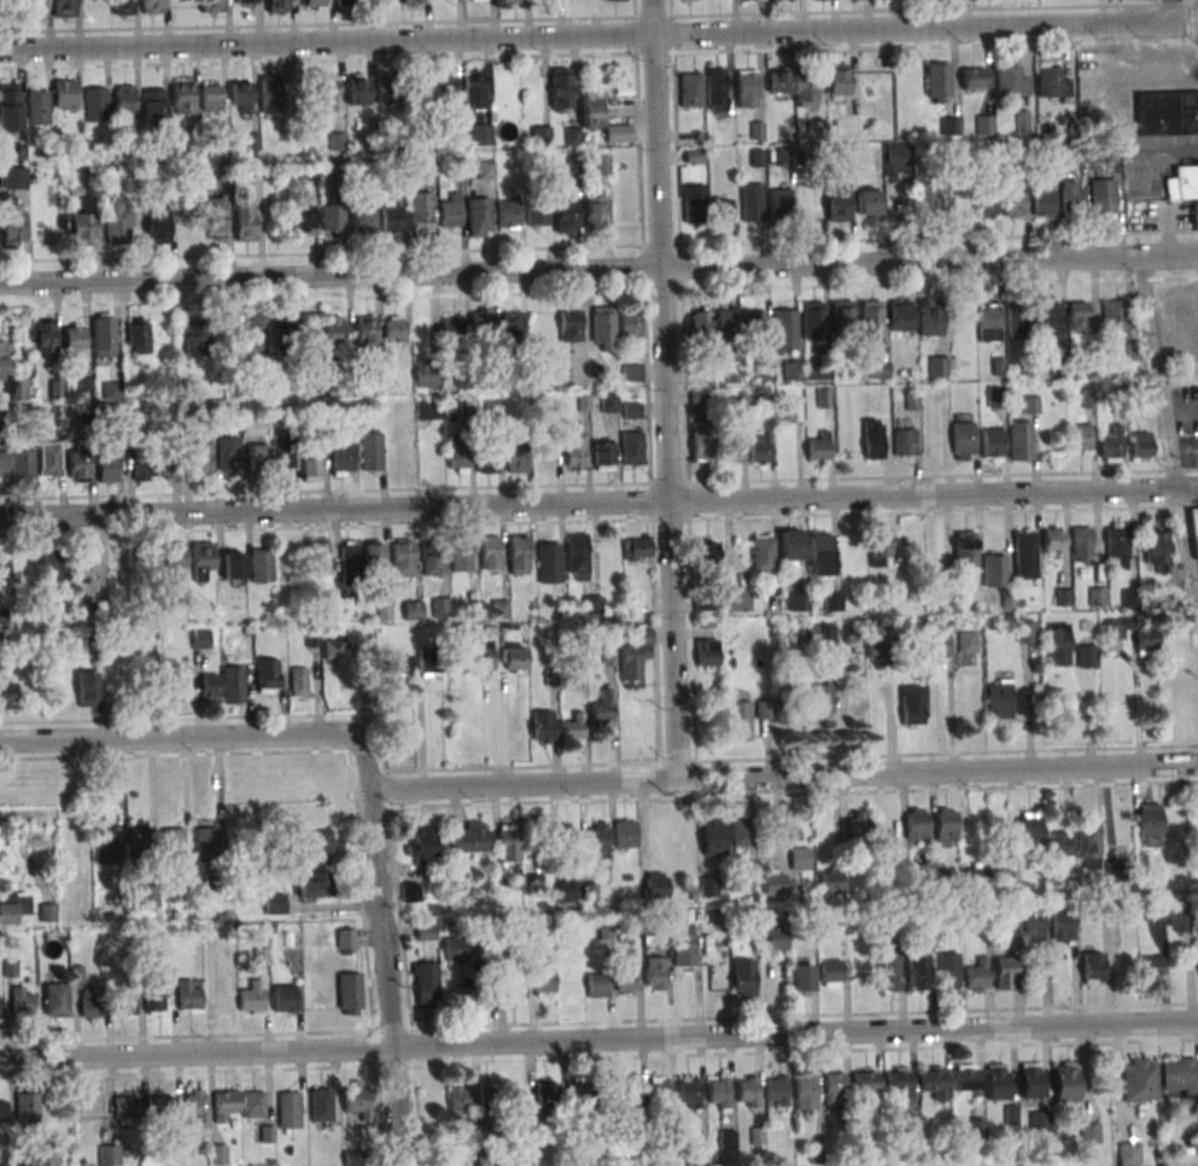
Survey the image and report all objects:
building: (614, 0)
building: (752, 0)
building: (242, 1)
building: (382, 1)
building: (411, 1)
building: (312, 4)
building: (346, 4)
building: (152, 6)
building: (212, 6)
building: (276, 6)
building: (122, 7)
building: (35, 8)
building: (63, 8)
road: (598, 31)
building: (972, 77)
building: (837, 78)
building: (779, 80)
building: (1053, 81)
building: (937, 82)
building: (1010, 82)
building: (806, 87)
building: (473, 88)
building: (560, 88)
building: (717, 88)
building: (747, 88)
building: (356, 89)
building: (690, 89)
building: (388, 90)
building: (445, 92)
building: (273, 93)
building: (64, 94)
building: (328, 94)
building: (241, 95)
building: (211, 96)
building: (182, 98)
building: (124, 100)
building: (95, 104)
building: (153, 105)
building: (10, 107)
building: (37, 107)
building: (591, 109)
building: (1167, 112)
building: (984, 124)
building: (949, 125)
building: (817, 129)
building: (618, 133)
building: (478, 134)
building: (539, 135)
building: (896, 159)
building: (1182, 182)
building: (1071, 195)
building: (1103, 197)
building: (925, 199)
building: (867, 201)
building: (1042, 201)
building: (694, 203)
building: (752, 203)
building: (778, 203)
building: (1015, 203)
building: (837, 204)
building: (984, 204)
building: (594, 207)
building: (450, 210)
building: (721, 210)
building: (420, 212)
building: (507, 212)
building: (537, 213)
building: (216, 215)
building: (391, 215)
building: (565, 215)
building: (1194, 215)
building: (333, 216)
building: (478, 216)
building: (304, 217)
building: (117, 218)
building: (362, 218)
building: (245, 222)
building: (157, 225)
building: (11, 227)
building: (81, 228)
road: (598, 270)
building: (843, 315)
building: (900, 315)
building: (1077, 315)
building: (1047, 316)
building: (1114, 316)
building: (930, 317)
building: (481, 320)
building: (813, 320)
building: (871, 322)
building: (988, 322)
building: (1017, 322)
building: (512, 323)
building: (569, 323)
building: (629, 323)
building: (699, 323)
building: (603, 327)
building: (393, 328)
building: (454, 328)
building: (337, 329)
building: (364, 329)
building: (725, 329)
building: (755, 329)
building: (784, 329)
building: (253, 332)
building: (284, 333)
building: (103, 335)
building: (136, 335)
building: (43, 338)
building: (194, 340)
building: (74, 341)
building: (937, 368)
building: (764, 370)
building: (791, 370)
building: (631, 371)
building: (425, 373)
building: (10, 382)
road: (664, 388)
building: (995, 397)
building: (823, 398)
building: (609, 402)
building: (428, 410)
building: (788, 411)
road: (1181, 411)
building: (934, 435)
building: (701, 436)
building: (963, 436)
building: (1080, 436)
building: (872, 439)
building: (905, 439)
building: (1019, 440)
road: (1168, 443)
building: (992, 444)
building: (1141, 445)
building: (574, 446)
building: (631, 447)
building: (759, 447)
building: (818, 447)
building: (1110, 447)
building: (370, 451)
building: (282, 452)
building: (730, 452)
building: (227, 453)
building: (341, 453)
building: (457, 455)
building: (257, 456)
building: (602, 456)
building: (518, 457)
building: (487, 458)
building: (49, 459)
building: (199, 459)
building: (2, 463)
building: (21, 463)
building: (311, 463)
building: (142, 464)
building: (77, 465)
building: (107, 465)
road: (598, 503)
building: (1194, 527)
building: (1053, 539)
building: (1081, 543)
building: (791, 544)
building: (1117, 545)
building: (879, 546)
building: (636, 547)
building: (965, 550)
building: (1156, 551)
building: (490, 552)
building: (706, 552)
building: (762, 552)
building: (317, 553)
building: (373, 555)
building: (461, 555)
building: (519, 555)
building: (820, 555)
building: (1024, 555)
building: (577, 556)
building: (402, 557)
building: (201, 558)
building: (432, 558)
building: (349, 561)
building: (86, 562)
building: (548, 562)
building: (261, 564)
building: (232, 566)
building: (51, 567)
building: (4, 568)
building: (994, 569)
building: (942, 587)
building: (1063, 597)
building: (736, 598)
building: (799, 600)
building: (832, 600)
building: (440, 607)
building: (499, 608)
building: (411, 610)
building: (1, 617)
building: (89, 620)
building: (1114, 628)
building: (1025, 631)
building: (825, 633)
building: (1145, 637)
building: (966, 641)
building: (1058, 644)
building: (937, 645)
building: (333, 649)
building: (878, 651)
building: (513, 656)
building: (608, 656)
building: (1086, 656)
building: (481, 657)
building: (633, 657)
building: (707, 657)
building: (427, 661)
building: (399, 664)
building: (265, 675)
building: (298, 681)
building: (232, 684)
building: (209, 687)
building: (86, 689)
building: (7, 696)
building: (820, 698)
building: (998, 699)
building: (604, 702)
building: (911, 704)
building: (765, 709)
building: (737, 720)
building: (543, 726)
building: (572, 728)
road: (198, 737)
road: (781, 774)
building: (916, 824)
building: (1150, 825)
building: (945, 826)
building: (858, 827)
building: (1030, 827)
building: (625, 833)
building: (737, 833)
building: (712, 836)
building: (471, 838)
building: (596, 839)
building: (508, 843)
building: (1059, 843)
building: (138, 844)
building: (173, 844)
building: (205, 844)
building: (1088, 845)
building: (105, 846)
building: (317, 846)
building: (421, 846)
building: (976, 874)
building: (1004, 875)
building: (211, 879)
building: (830, 883)
building: (782, 884)
building: (315, 885)
building: (655, 885)
building: (568, 886)
building: (410, 892)
building: (148, 897)
building: (274, 903)
building: (12, 907)
building: (1170, 915)
building: (1063, 922)
building: (1033, 924)
building: (1010, 926)
building: (425, 931)
building: (345, 938)
building: (291, 939)
building: (775, 939)
building: (684, 949)
building: (457, 950)
building: (1093, 967)
building: (1151, 968)
building: (947, 969)
building: (889, 971)
building: (830, 972)
building: (918, 972)
building: (1007, 972)
building: (654, 973)
building: (543, 975)
building: (800, 975)
building: (977, 975)
building: (742, 977)
road: (385, 978)
building: (626, 978)
building: (426, 983)
building: (597, 984)
building: (512, 989)
building: (152, 991)
building: (349, 992)
building: (186, 994)
building: (284, 997)
building: (251, 998)
building: (22, 1001)
building: (54, 1001)
building: (123, 1003)
building: (89, 1006)
building: (0, 1008)
road: (598, 1038)
building: (1179, 1077)
building: (1139, 1078)
building: (865, 1080)
building: (965, 1080)
building: (1032, 1080)
building: (1065, 1080)
building: (900, 1082)
building: (997, 1082)
building: (934, 1083)
building: (834, 1086)
building: (718, 1091)
building: (747, 1091)
building: (776, 1091)
building: (805, 1091)
building: (659, 1092)
building: (689, 1092)
building: (545, 1094)
building: (631, 1094)
building: (580, 1097)
building: (460, 1098)
building: (357, 1100)
building: (491, 1102)
building: (195, 1105)
building: (224, 1105)
building: (252, 1105)
building: (321, 1105)
building: (25, 1106)
building: (159, 1108)
building: (124, 1109)
building: (288, 1109)
building: (2, 1111)
building: (1040, 1121)
building: (975, 1124)
building: (1091, 1132)
building: (1128, 1153)
building: (109, 1154)
building: (352, 1156)

